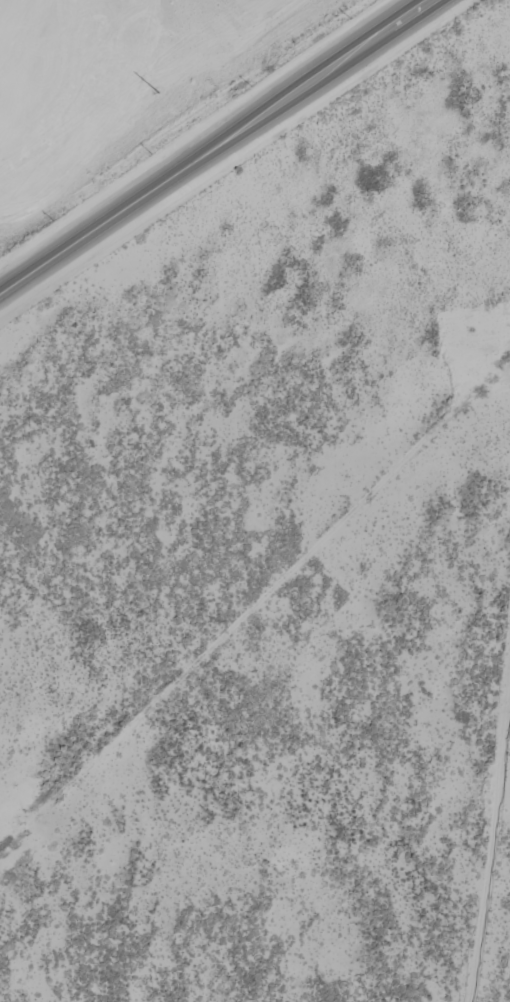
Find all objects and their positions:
power tower: (160, 95)
road: (219, 148)

